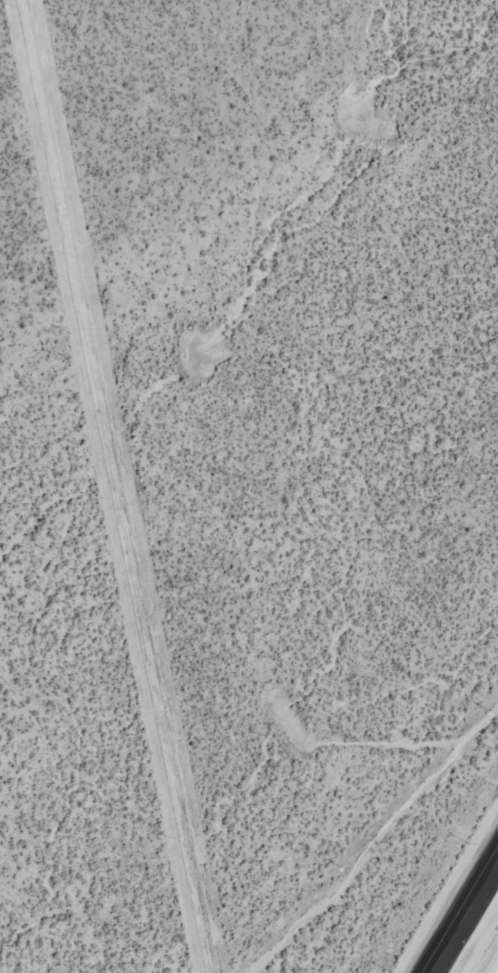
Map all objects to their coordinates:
road: (464, 916)
road: (495, 968)

